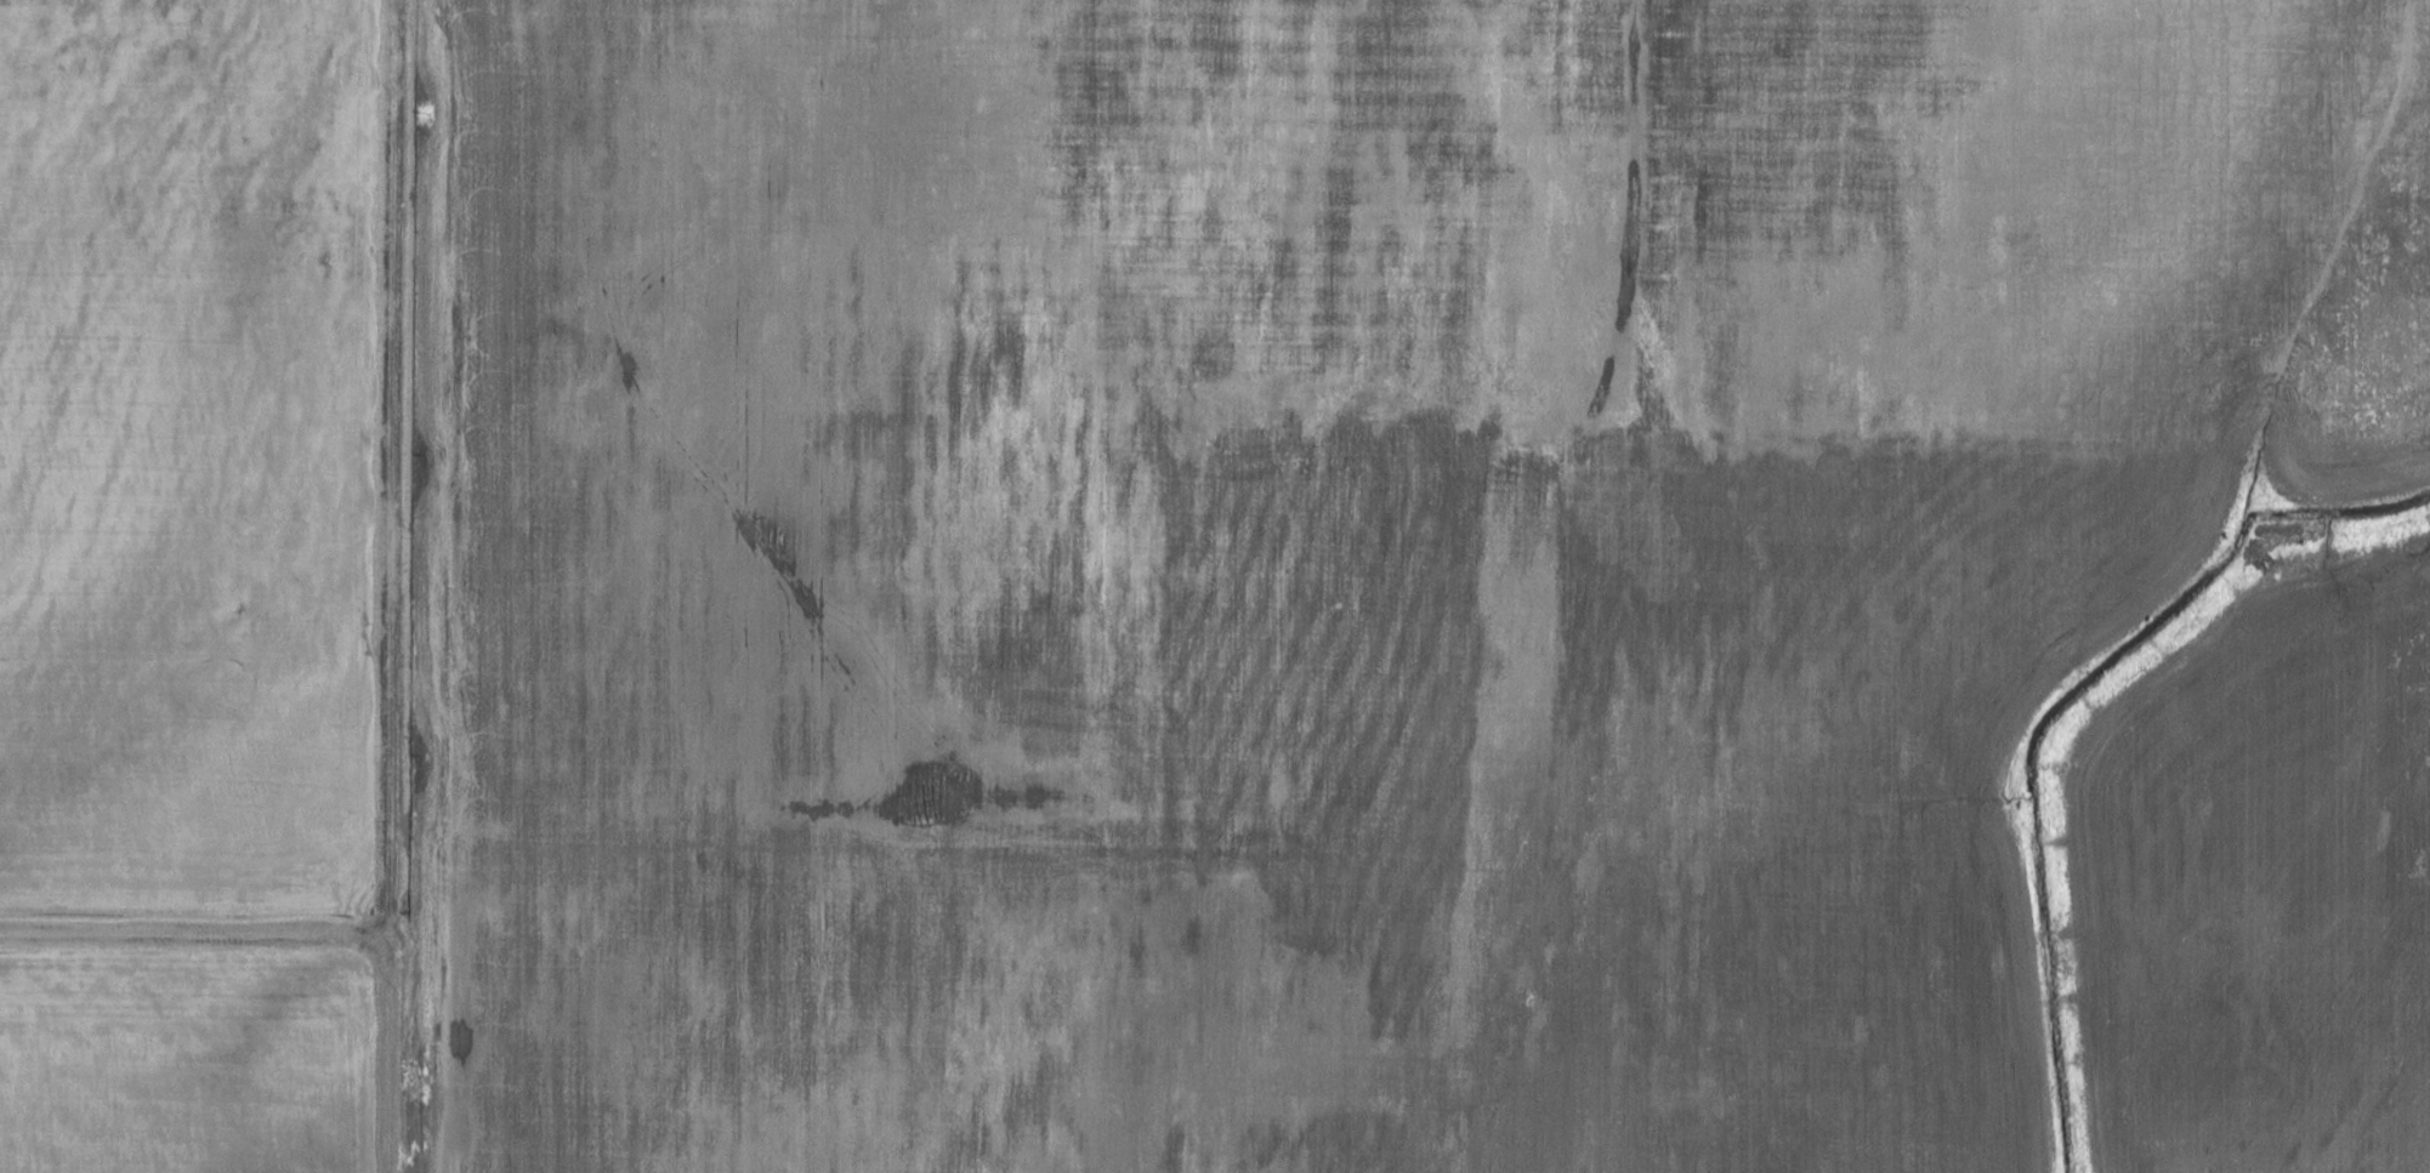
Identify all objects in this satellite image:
road: (436, 586)

